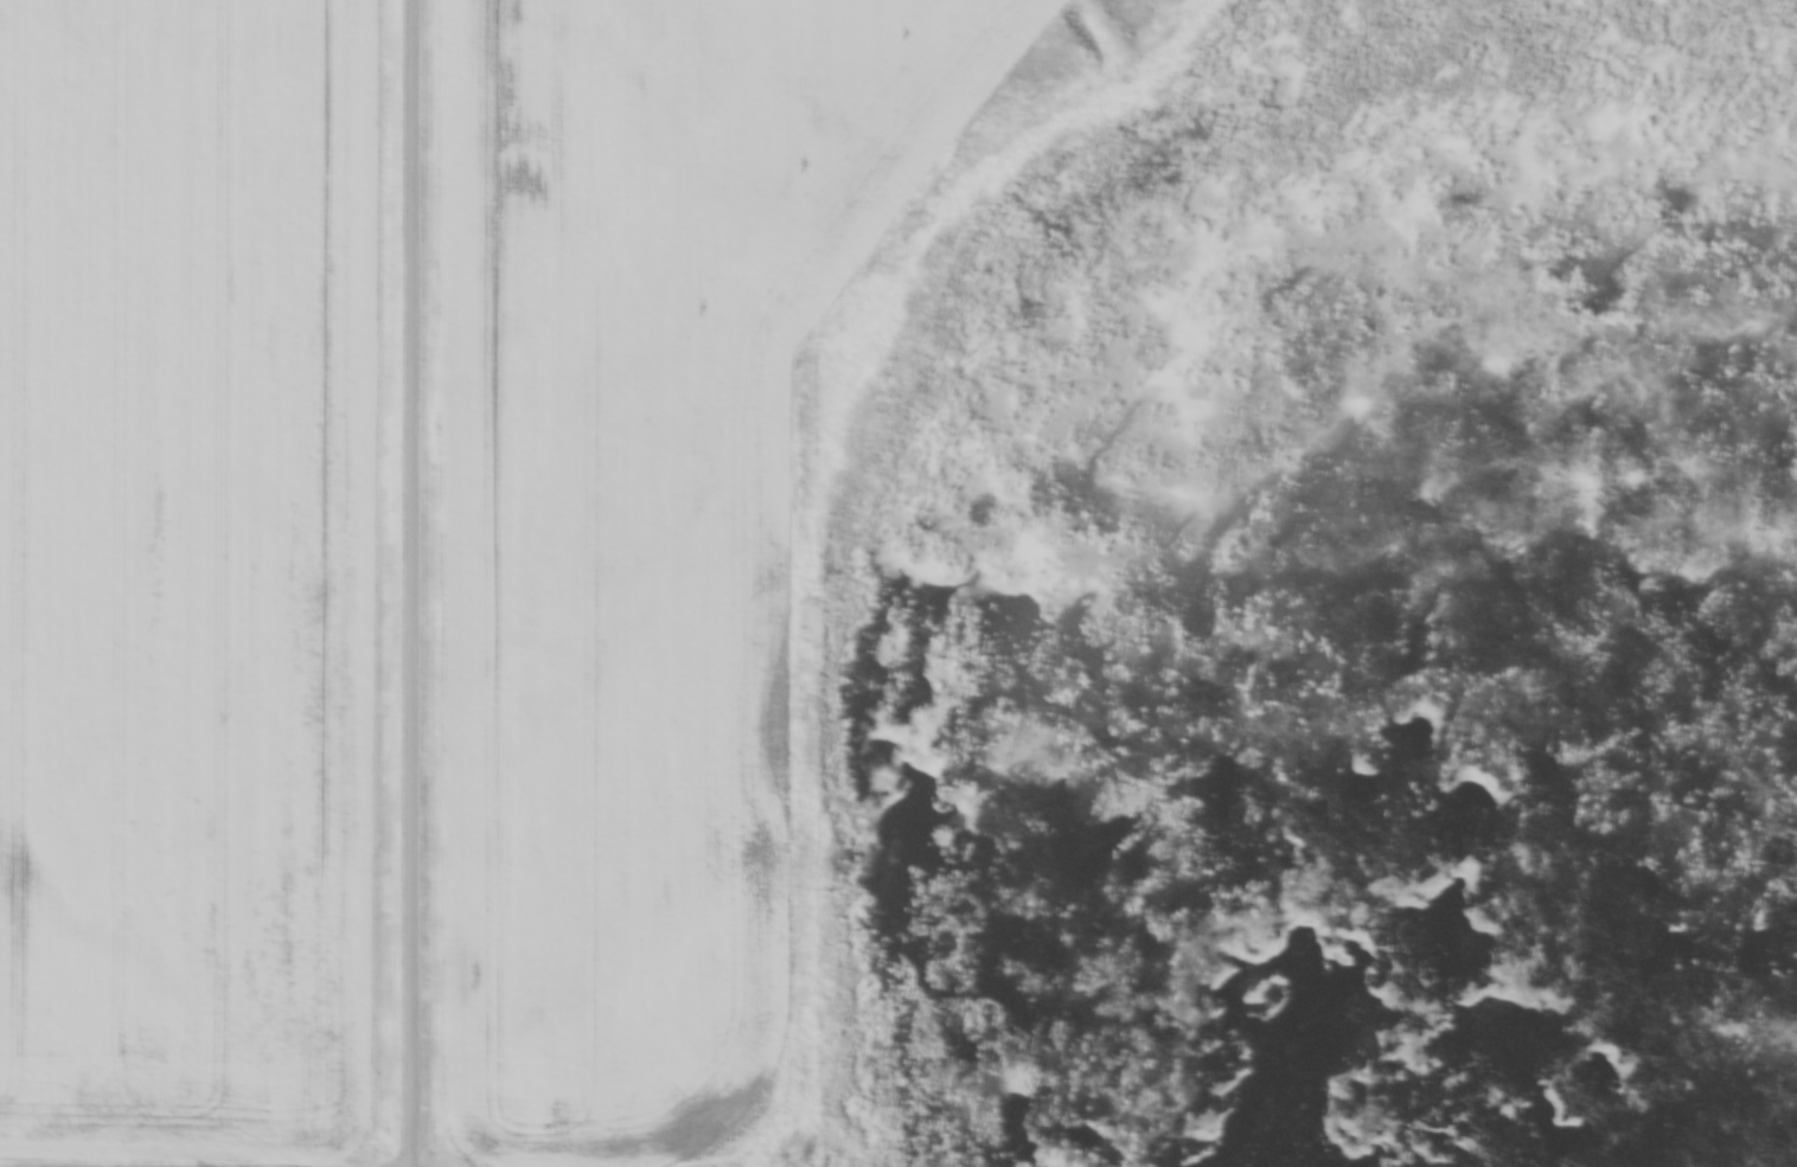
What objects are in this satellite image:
road: (413, 583)

